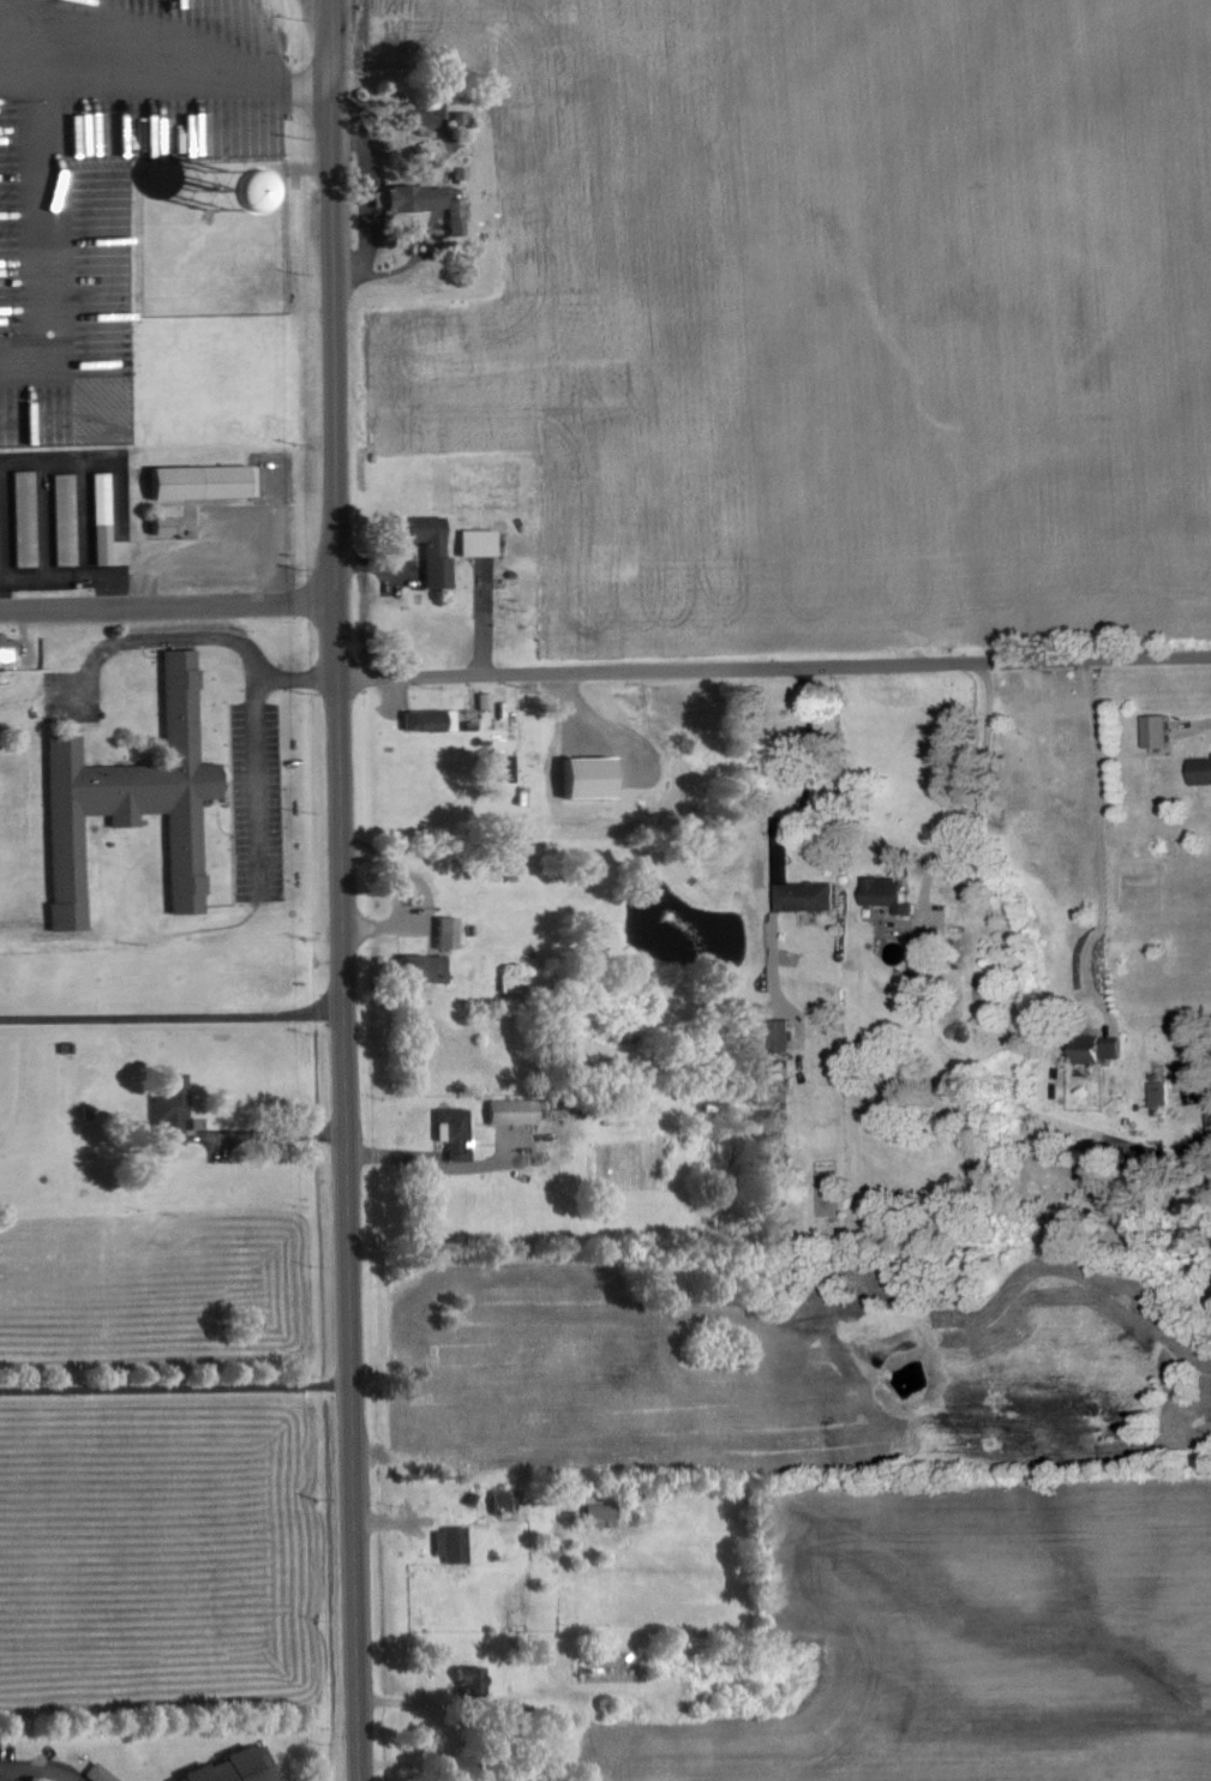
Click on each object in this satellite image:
water tower: (216, 182)
building: (264, 187)
building: (422, 197)
building: (462, 215)
building: (206, 481)
building: (29, 517)
building: (107, 517)
building: (70, 518)
building: (168, 524)
building: (485, 541)
building: (438, 548)
road: (170, 608)
building: (10, 648)
road: (775, 662)
building: (434, 719)
building: (1165, 730)
building: (1204, 768)
road: (970, 792)
building: (140, 799)
road: (1099, 840)
road: (343, 890)
building: (892, 892)
building: (810, 894)
building: (454, 931)
building: (922, 960)
building: (428, 966)
road: (172, 1015)
building: (1108, 1049)
building: (1164, 1095)
building: (179, 1107)
building: (520, 1110)
building: (461, 1131)
road: (176, 1387)
building: (508, 1499)
building: (606, 1510)
building: (457, 1543)
building: (478, 1679)
building: (242, 1767)
road: (37, 1773)
building: (106, 1773)

